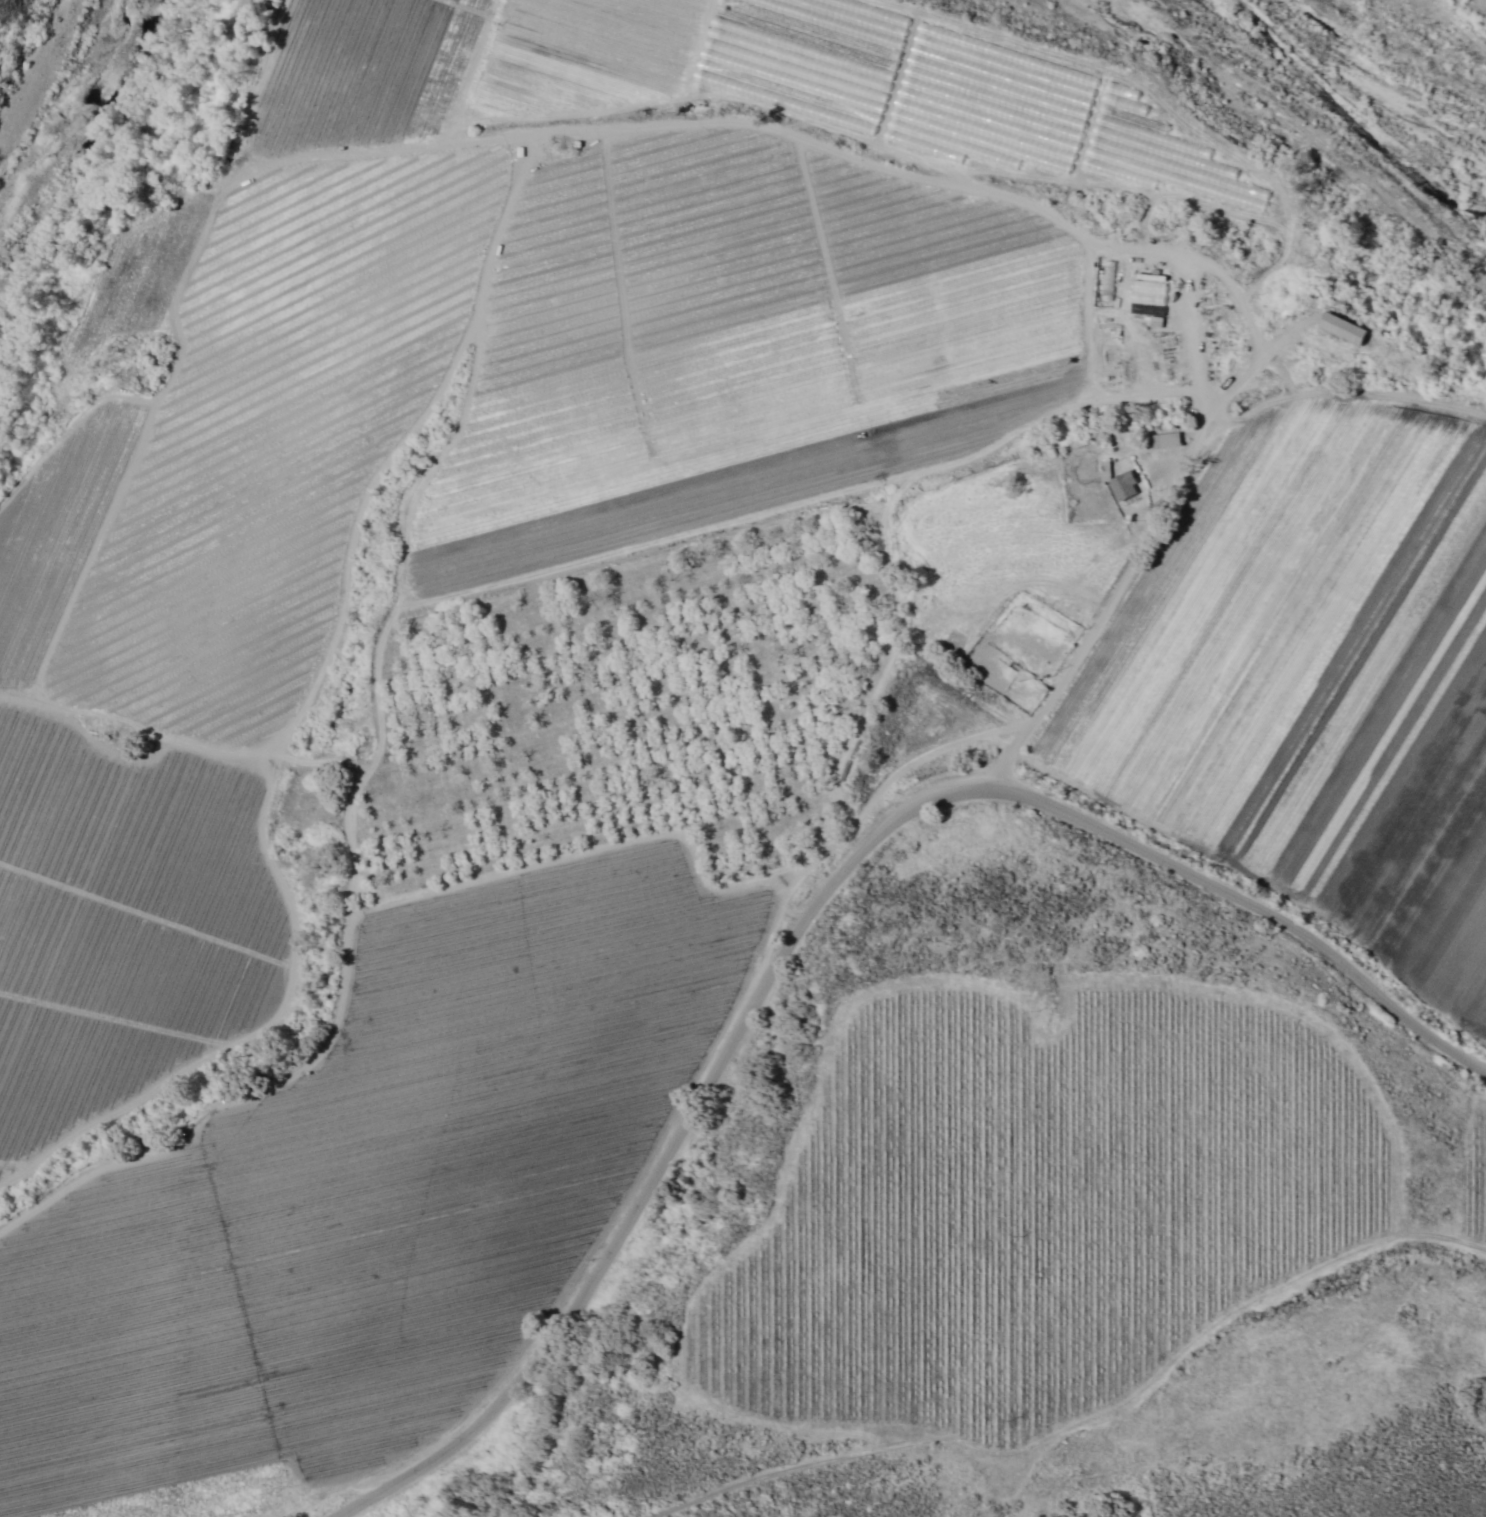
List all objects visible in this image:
river: (1409, 88)
river: (64, 100)
building: (1158, 156)
building: (1144, 294)
building: (1338, 328)
building: (1163, 440)
road: (1200, 440)
building: (1120, 485)
crop: (642, 671)
road: (815, 899)
crop: (1477, 1183)

